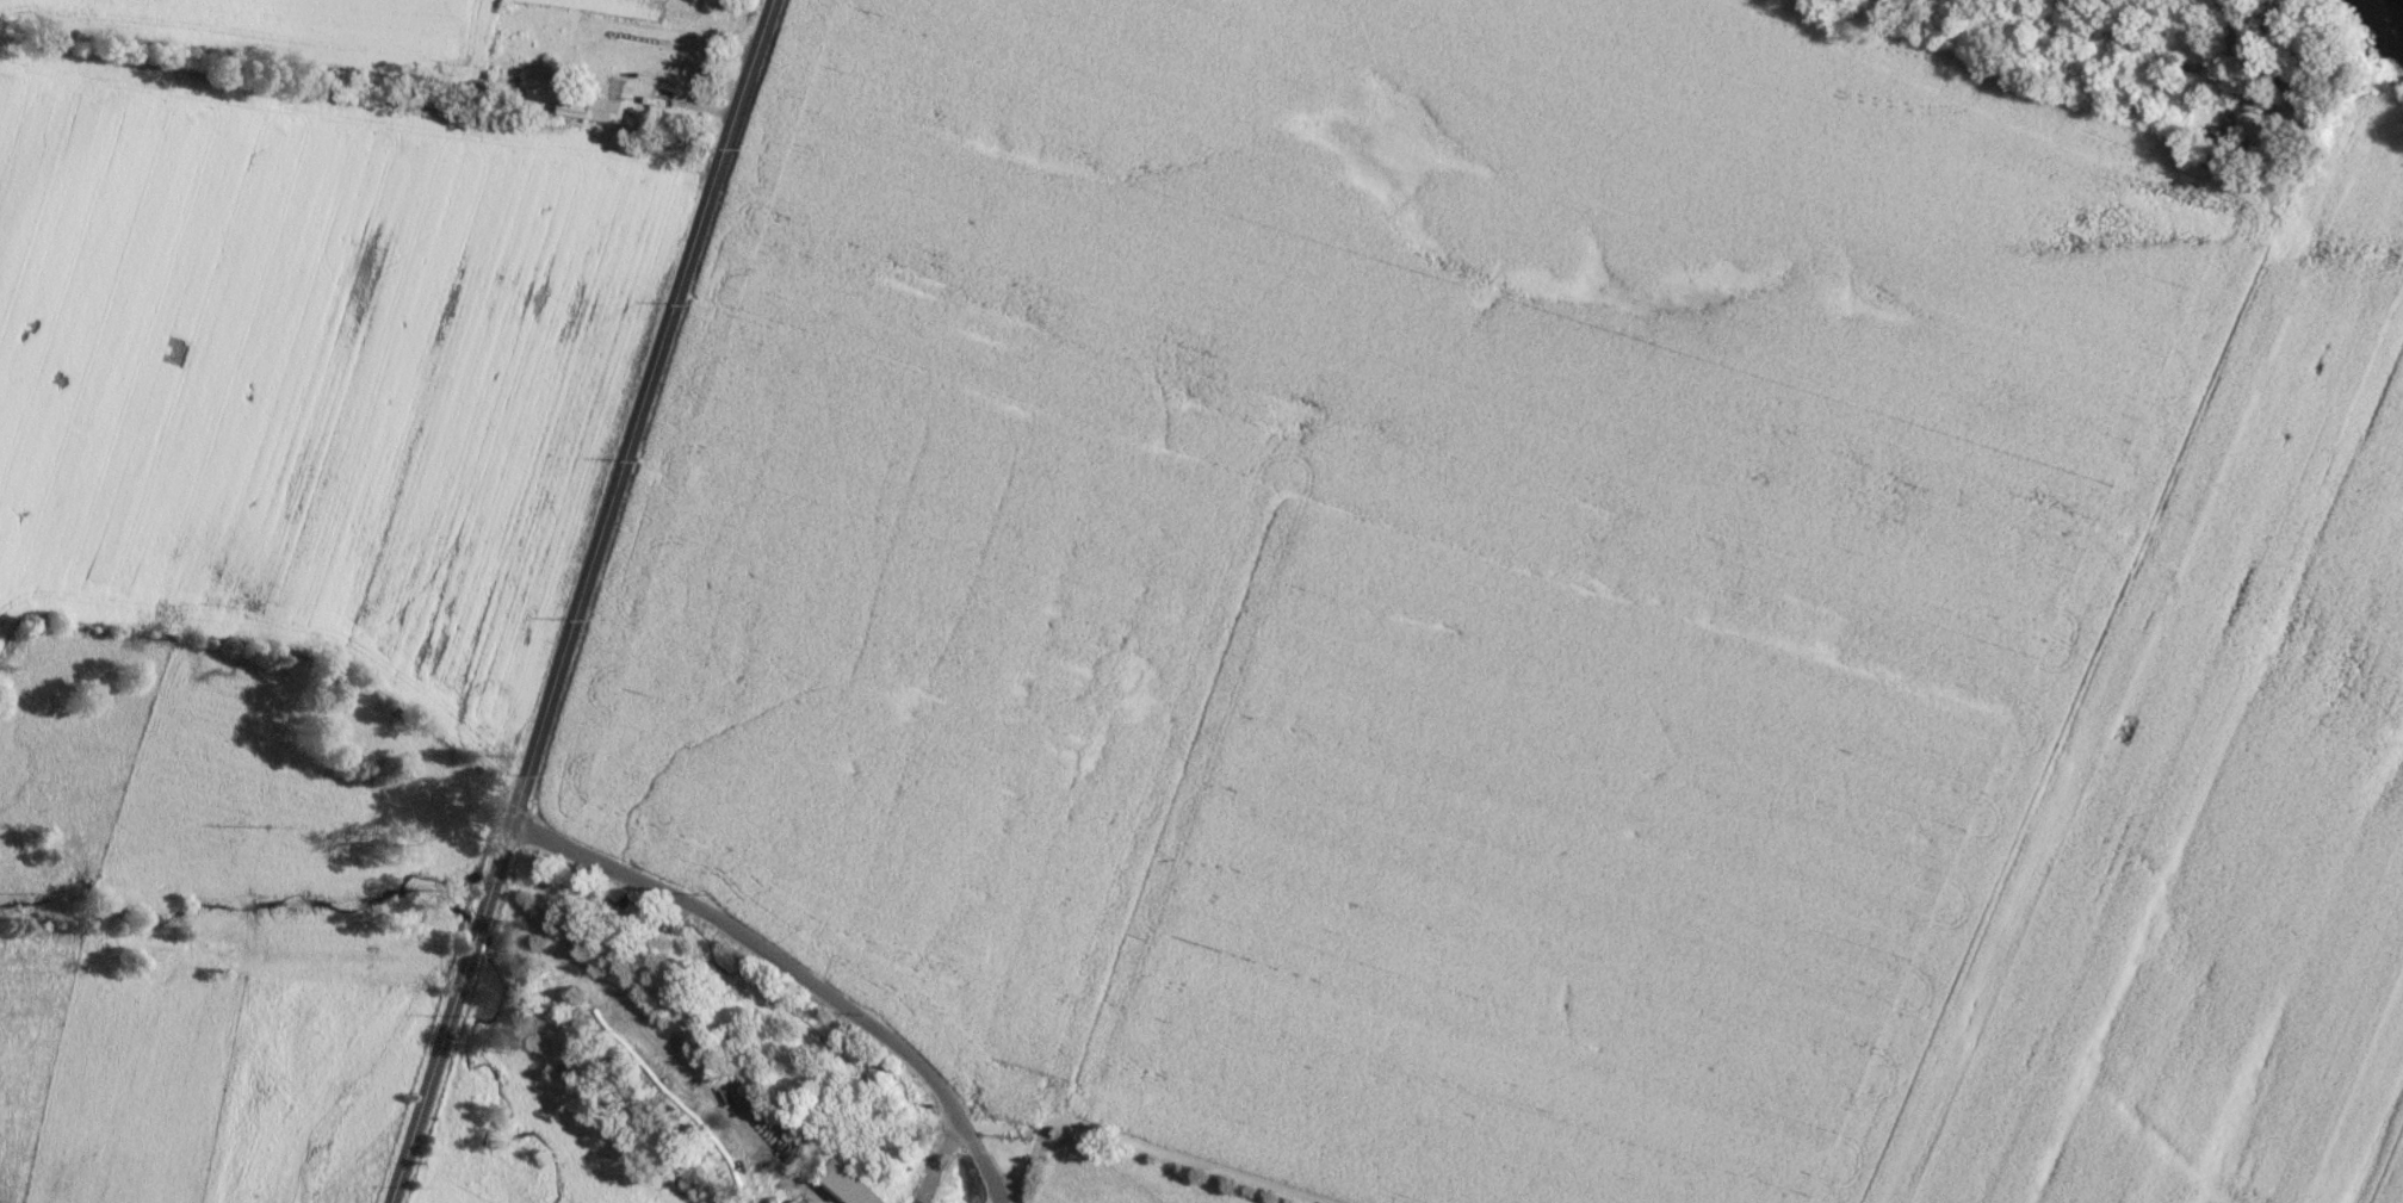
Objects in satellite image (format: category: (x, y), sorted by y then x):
river: (2401, 0)
crop: (618, 6)
road: (2191, 68)
road: (701, 76)
building: (643, 107)
building: (597, 108)
building: (2213, 136)
crop: (1547, 286)
crop: (312, 349)
road: (578, 601)
crop: (904, 681)
crop: (2217, 787)
crop: (1541, 889)
road: (766, 947)
road: (940, 1162)
crop: (2386, 1164)
road: (984, 1171)
building: (843, 1184)
building: (794, 1201)

